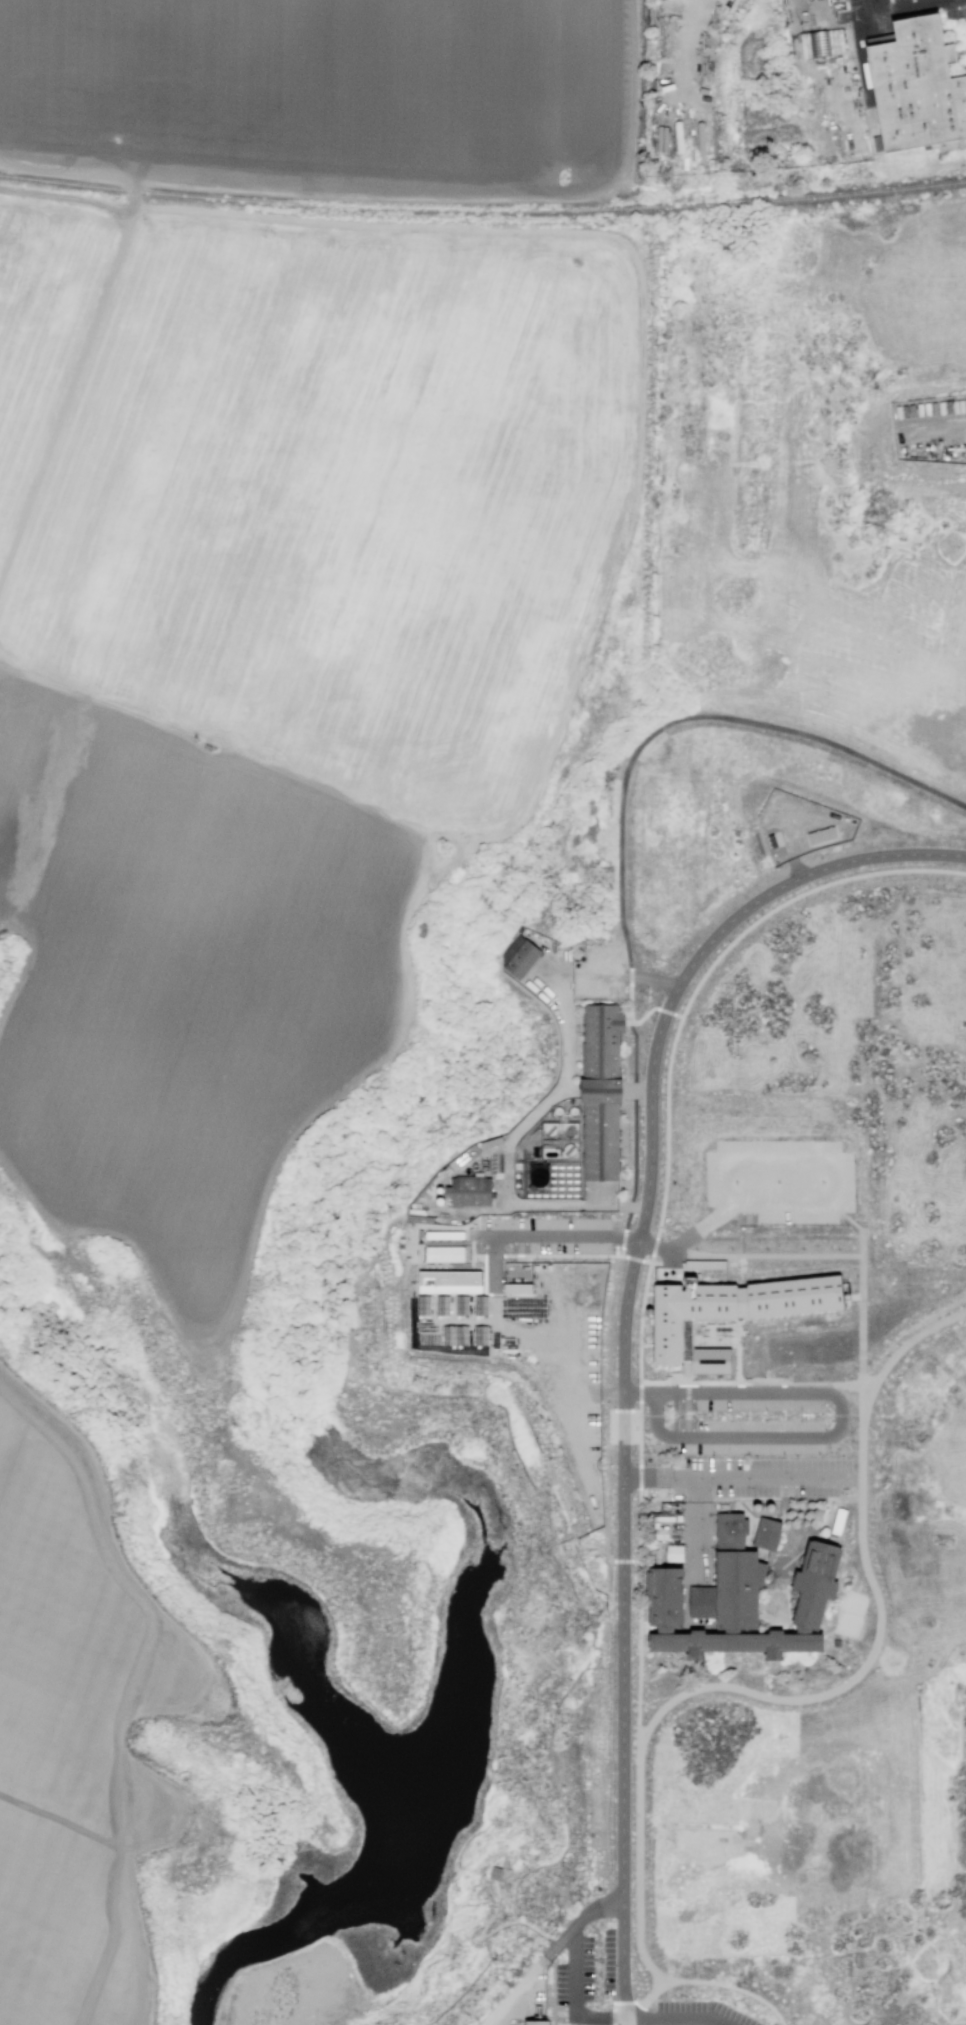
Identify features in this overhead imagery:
parking lot: (880, 5)
road: (904, 10)
crop: (332, 83)
building: (917, 92)
building: (662, 138)
road: (403, 195)
railway: (809, 196)
railway: (325, 203)
road: (70, 382)
road: (633, 496)
crop: (283, 676)
road: (689, 717)
building: (835, 817)
building: (845, 819)
building: (852, 821)
building: (821, 836)
building: (774, 839)
road: (791, 847)
road: (771, 913)
road: (403, 948)
building: (520, 957)
road: (654, 977)
road: (630, 999)
building: (602, 1055)
road: (652, 1062)
road: (540, 1112)
road: (634, 1139)
building: (601, 1143)
building: (538, 1175)
parking lot: (780, 1180)
building: (472, 1193)
road: (816, 1200)
road: (860, 1227)
building: (447, 1236)
parking lot: (543, 1236)
road: (566, 1236)
road: (677, 1253)
building: (447, 1254)
road: (849, 1254)
road: (561, 1255)
road: (646, 1262)
road: (494, 1266)
building: (450, 1282)
building: (517, 1288)
building: (423, 1305)
building: (443, 1305)
building: (461, 1305)
building: (481, 1305)
road: (640, 1308)
building: (728, 1317)
building: (455, 1335)
building: (481, 1335)
road: (570, 1371)
road: (686, 1409)
road: (824, 1437)
road: (734, 1477)
parking lot: (765, 1478)
road: (774, 1499)
road: (808, 1499)
road: (781, 1501)
flagpole: (833, 1507)
building: (758, 1510)
storage tank: (758, 1510)
building: (771, 1510)
storage tank: (771, 1510)
building: (680, 1518)
building: (663, 1519)
building: (838, 1522)
building: (679, 1524)
building: (656, 1526)
road: (696, 1529)
building: (661, 1535)
building: (768, 1535)
road: (551, 1548)
building: (657, 1554)
building: (675, 1554)
road: (639, 1572)
building: (731, 1582)
building: (816, 1588)
road: (687, 1596)
building: (666, 1601)
road: (789, 1612)
park: (849, 1614)
road: (646, 1629)
road: (706, 1635)
building: (836, 1644)
building: (737, 1646)
road: (891, 1649)
road: (145, 1692)
road: (806, 1698)
crop: (78, 1723)
road: (622, 1739)
parking lot: (610, 1819)
road: (62, 1825)
building: (495, 1872)
road: (493, 1931)
road: (550, 1951)
parking lot: (587, 1967)
road: (727, 1984)
road: (467, 1985)
road: (573, 1995)
road: (613, 2008)
road: (625, 2011)
parking lot: (698, 2013)
road: (674, 2021)
building: (537, 2022)
road: (626, 2022)
road: (671, 2023)
road: (713, 2023)

